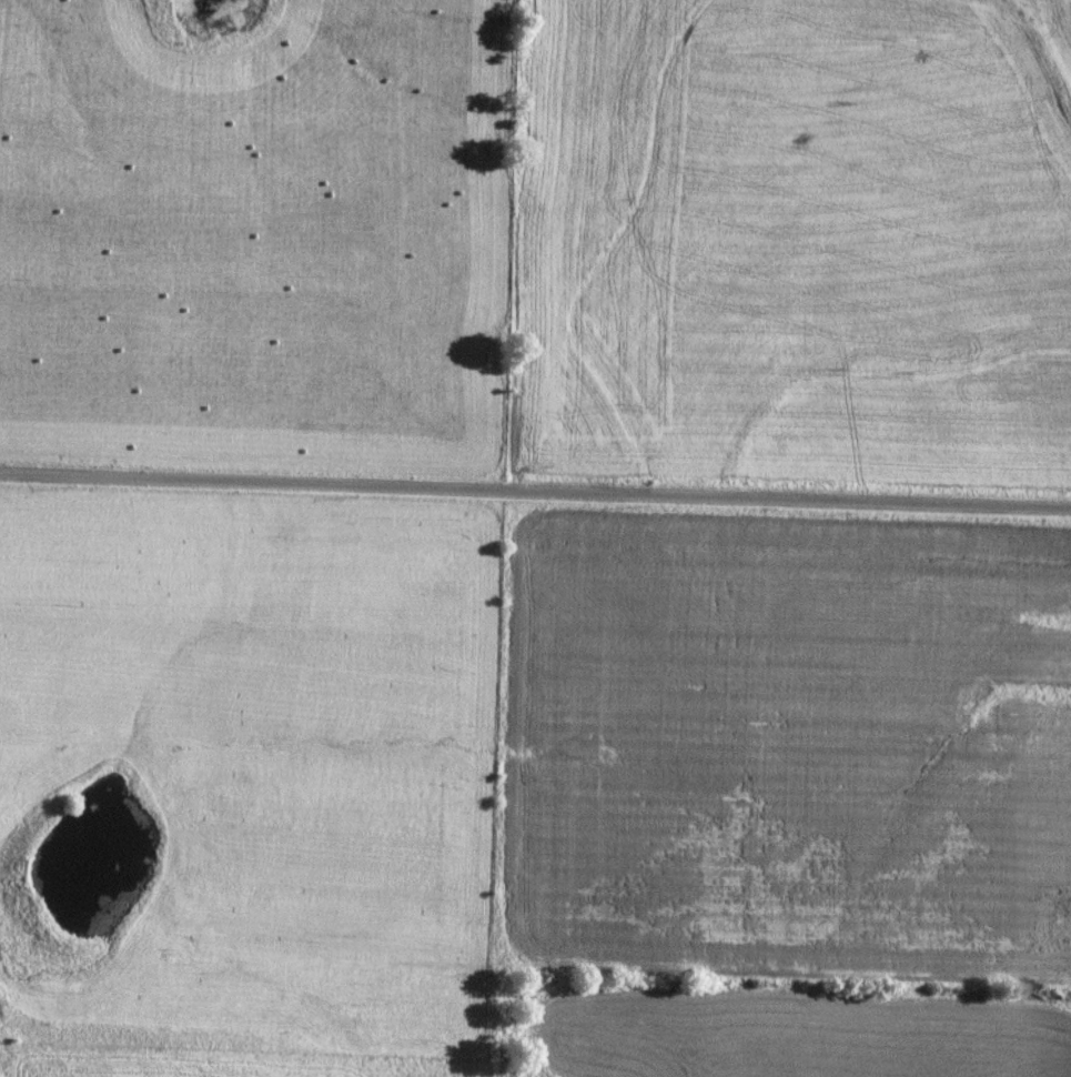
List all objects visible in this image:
road: (535, 494)
crop: (785, 746)

